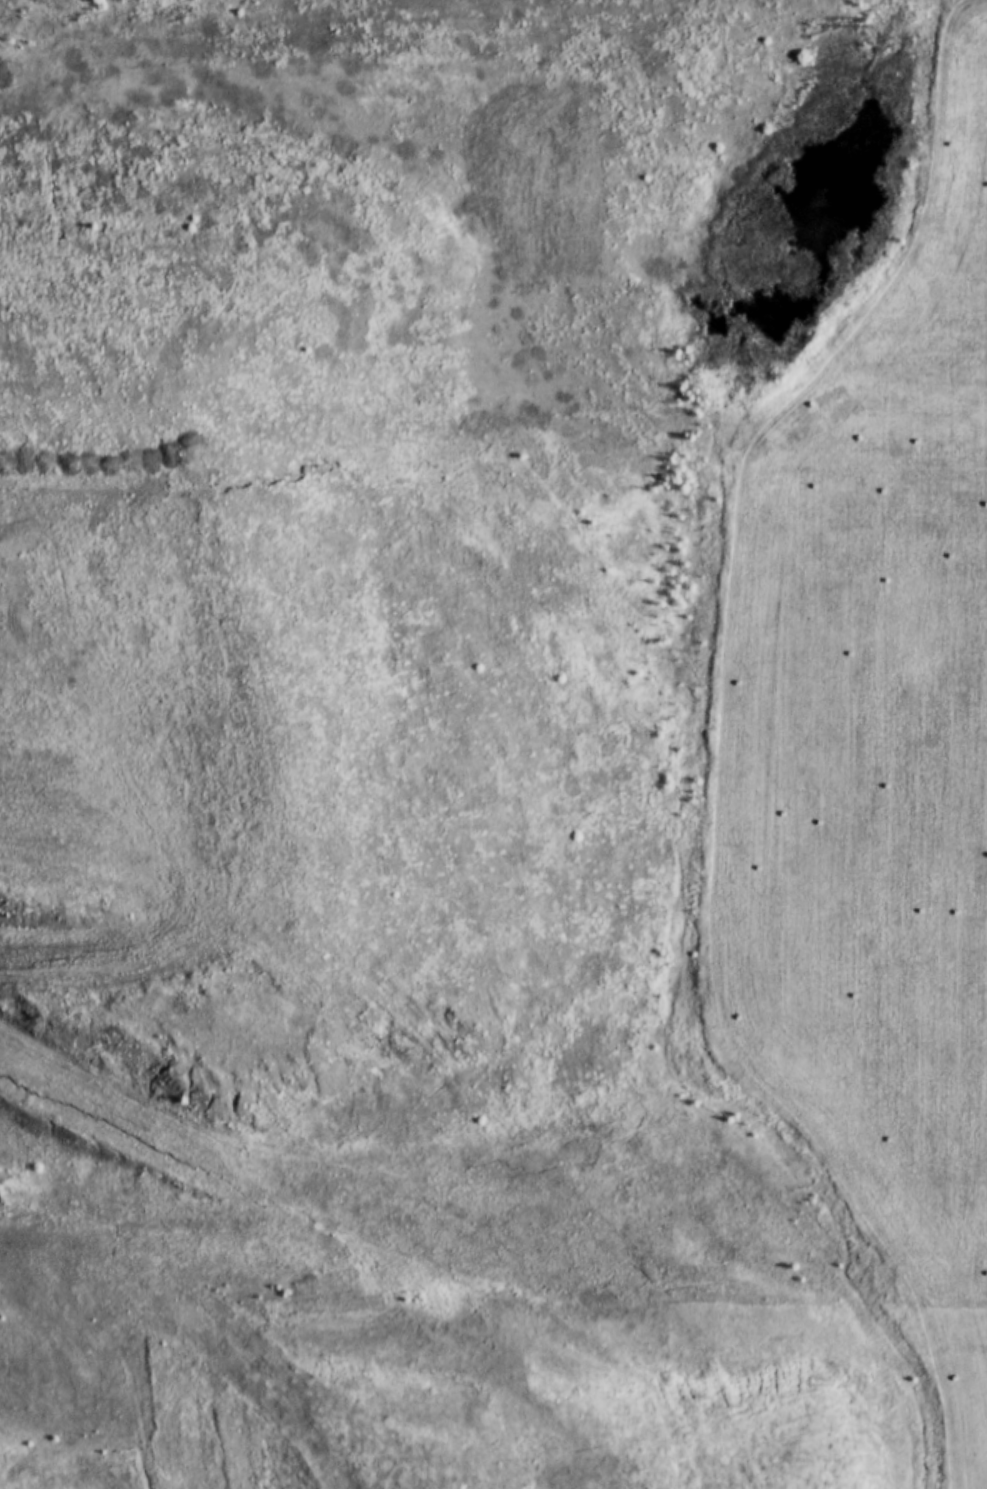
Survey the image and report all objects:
road: (535, 44)
quarry: (493, 744)

